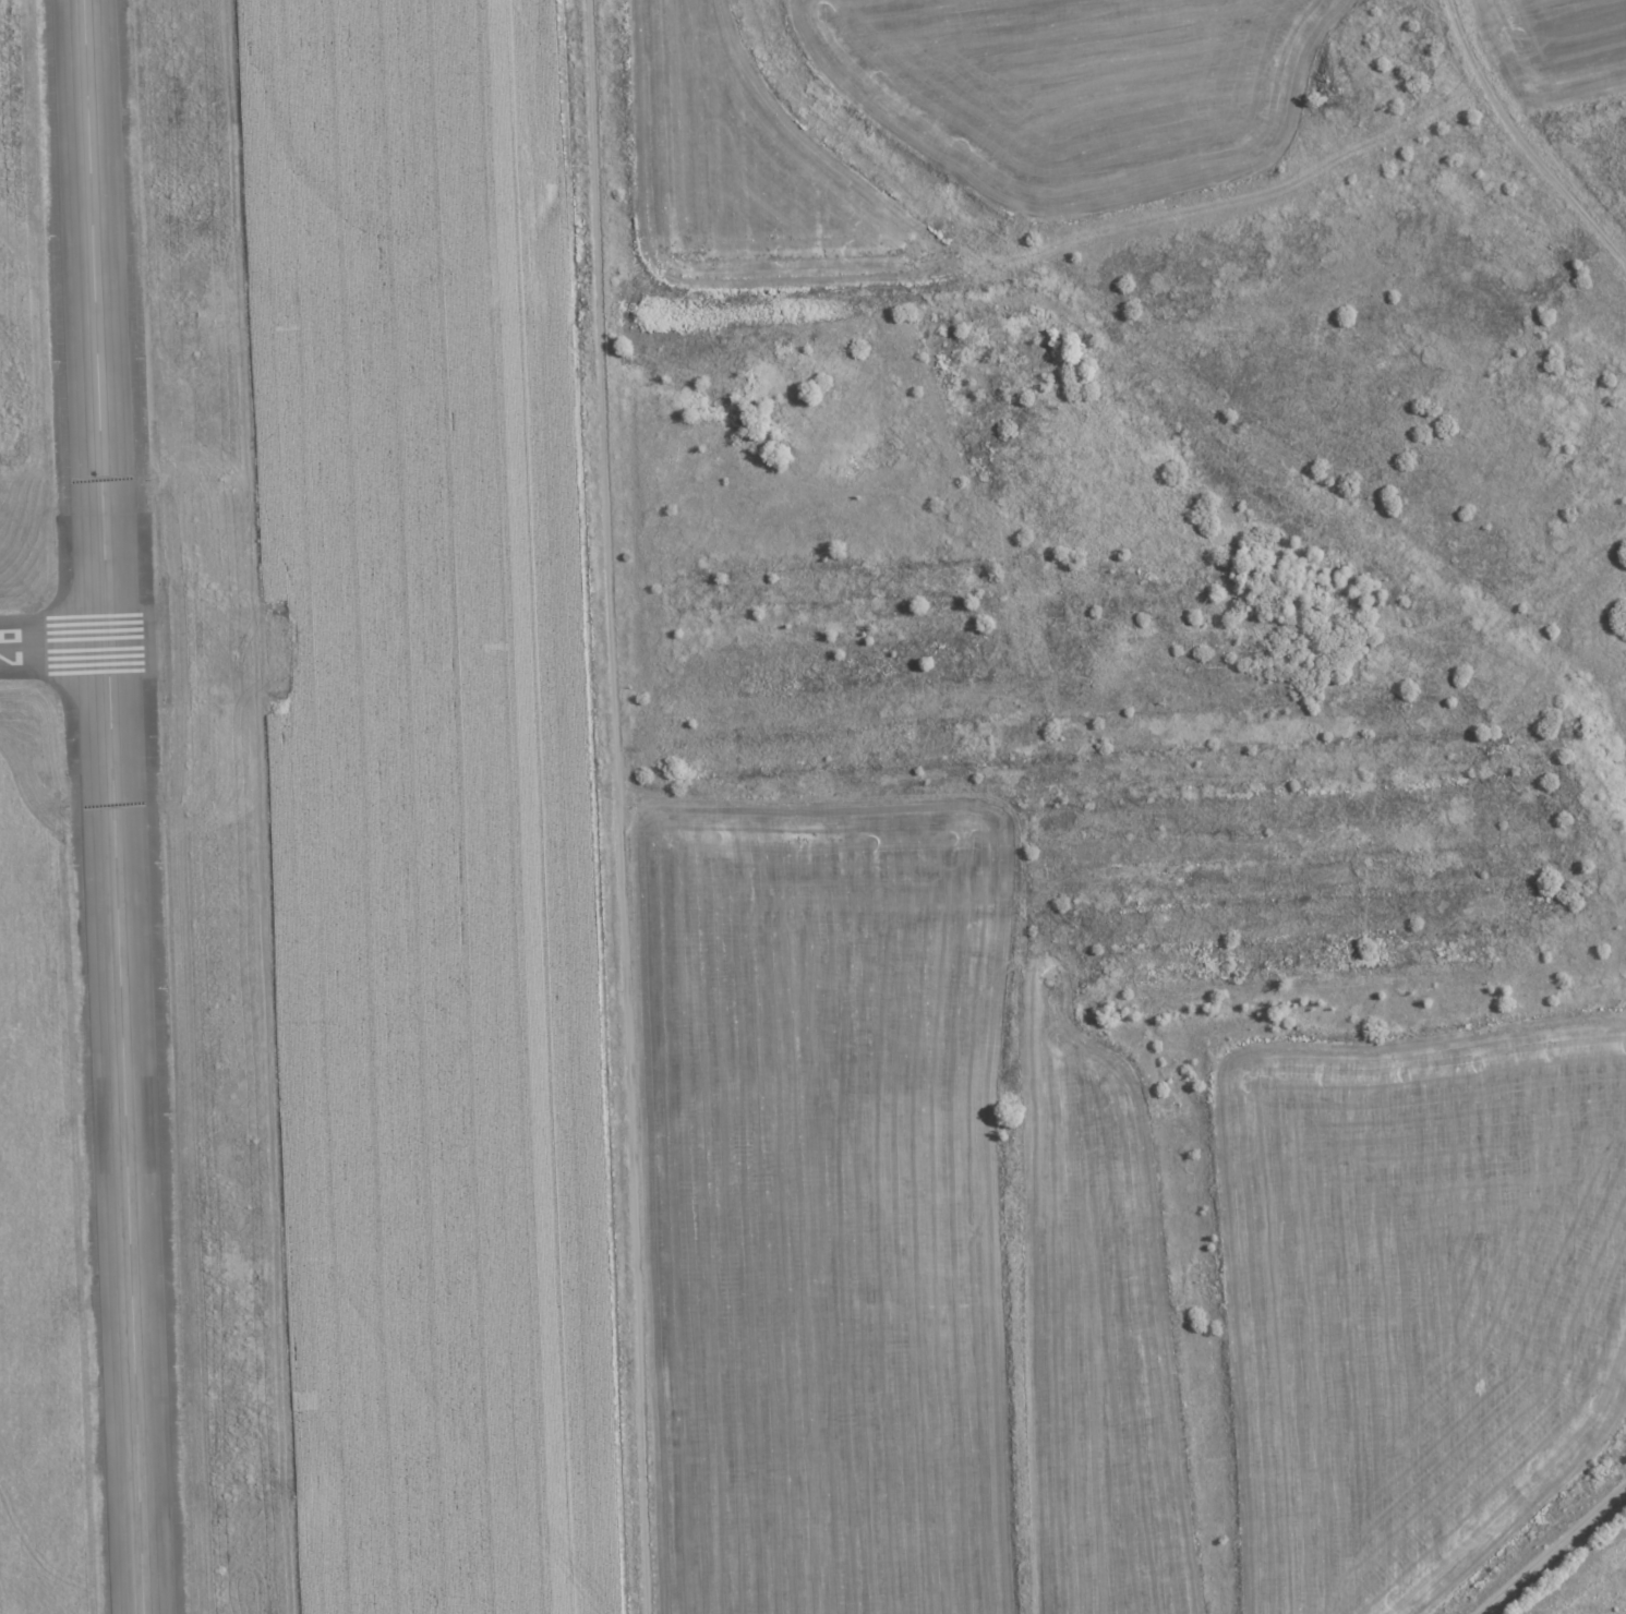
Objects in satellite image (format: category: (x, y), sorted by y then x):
road: (1527, 134)
road: (602, 389)
airport runway: (70, 648)
airport runway: (113, 807)
airport: (298, 820)
road: (633, 1196)
road: (1552, 1550)

